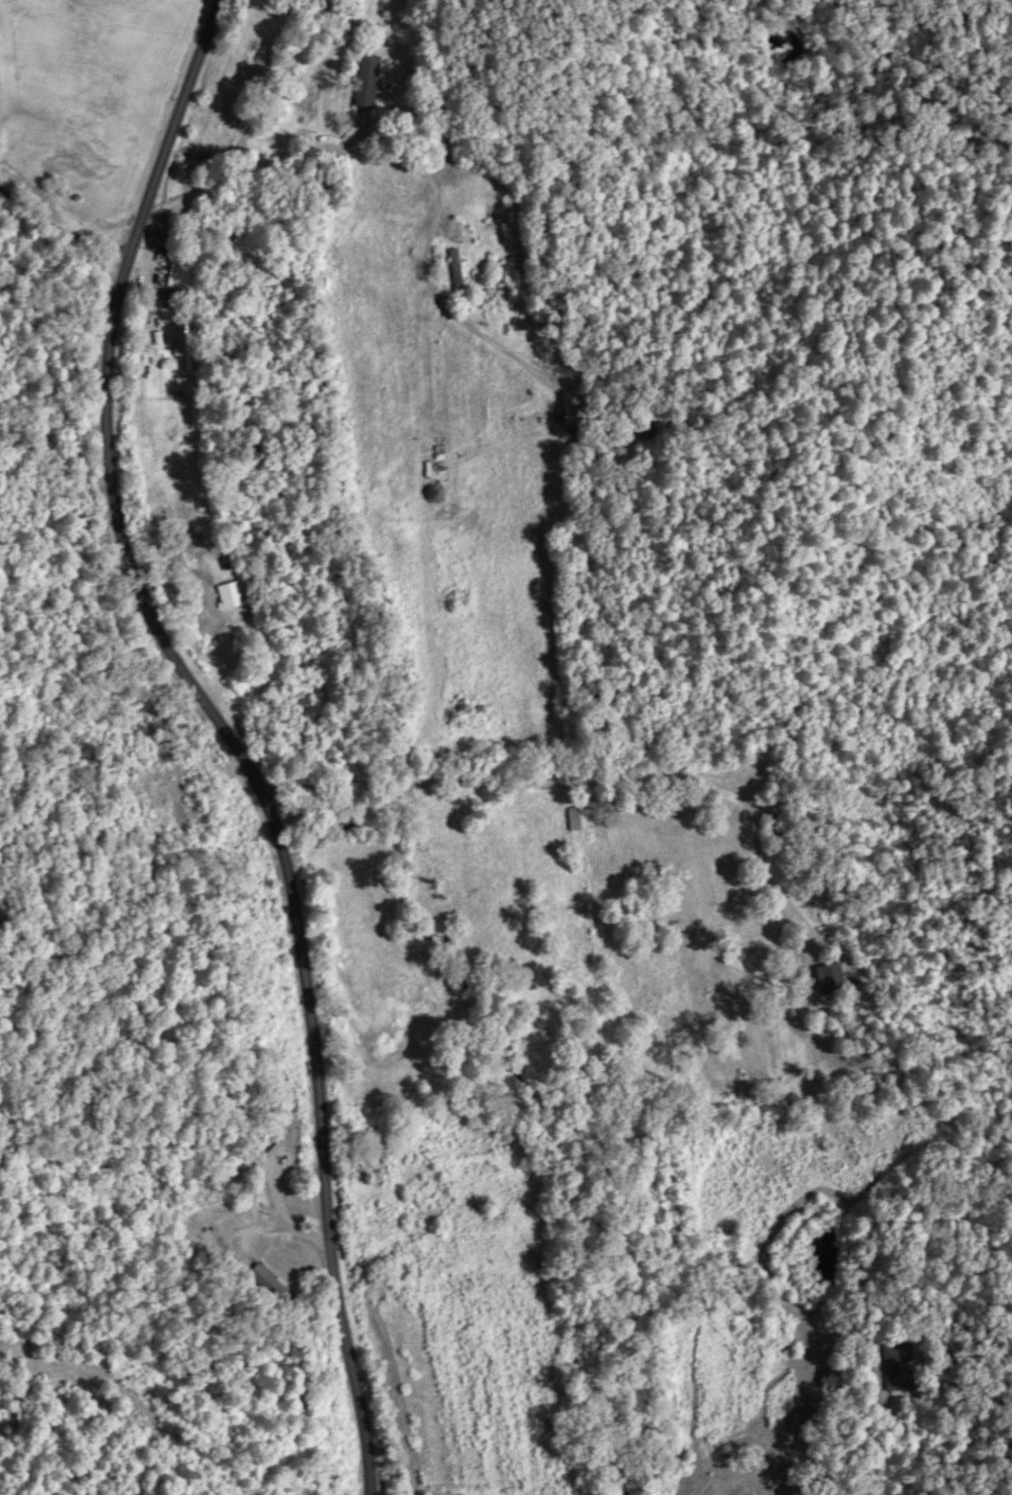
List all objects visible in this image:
building: (364, 82)
road: (435, 181)
road: (65, 204)
road: (10, 260)
building: (453, 270)
road: (159, 273)
building: (175, 277)
building: (182, 345)
building: (633, 429)
building: (184, 541)
building: (229, 597)
building: (202, 631)
road: (222, 735)
road: (589, 782)
building: (574, 820)
building: (775, 826)
building: (731, 861)
building: (826, 978)
building: (267, 1156)
road: (248, 1228)
building: (268, 1284)
building: (894, 1367)
road: (885, 1435)

